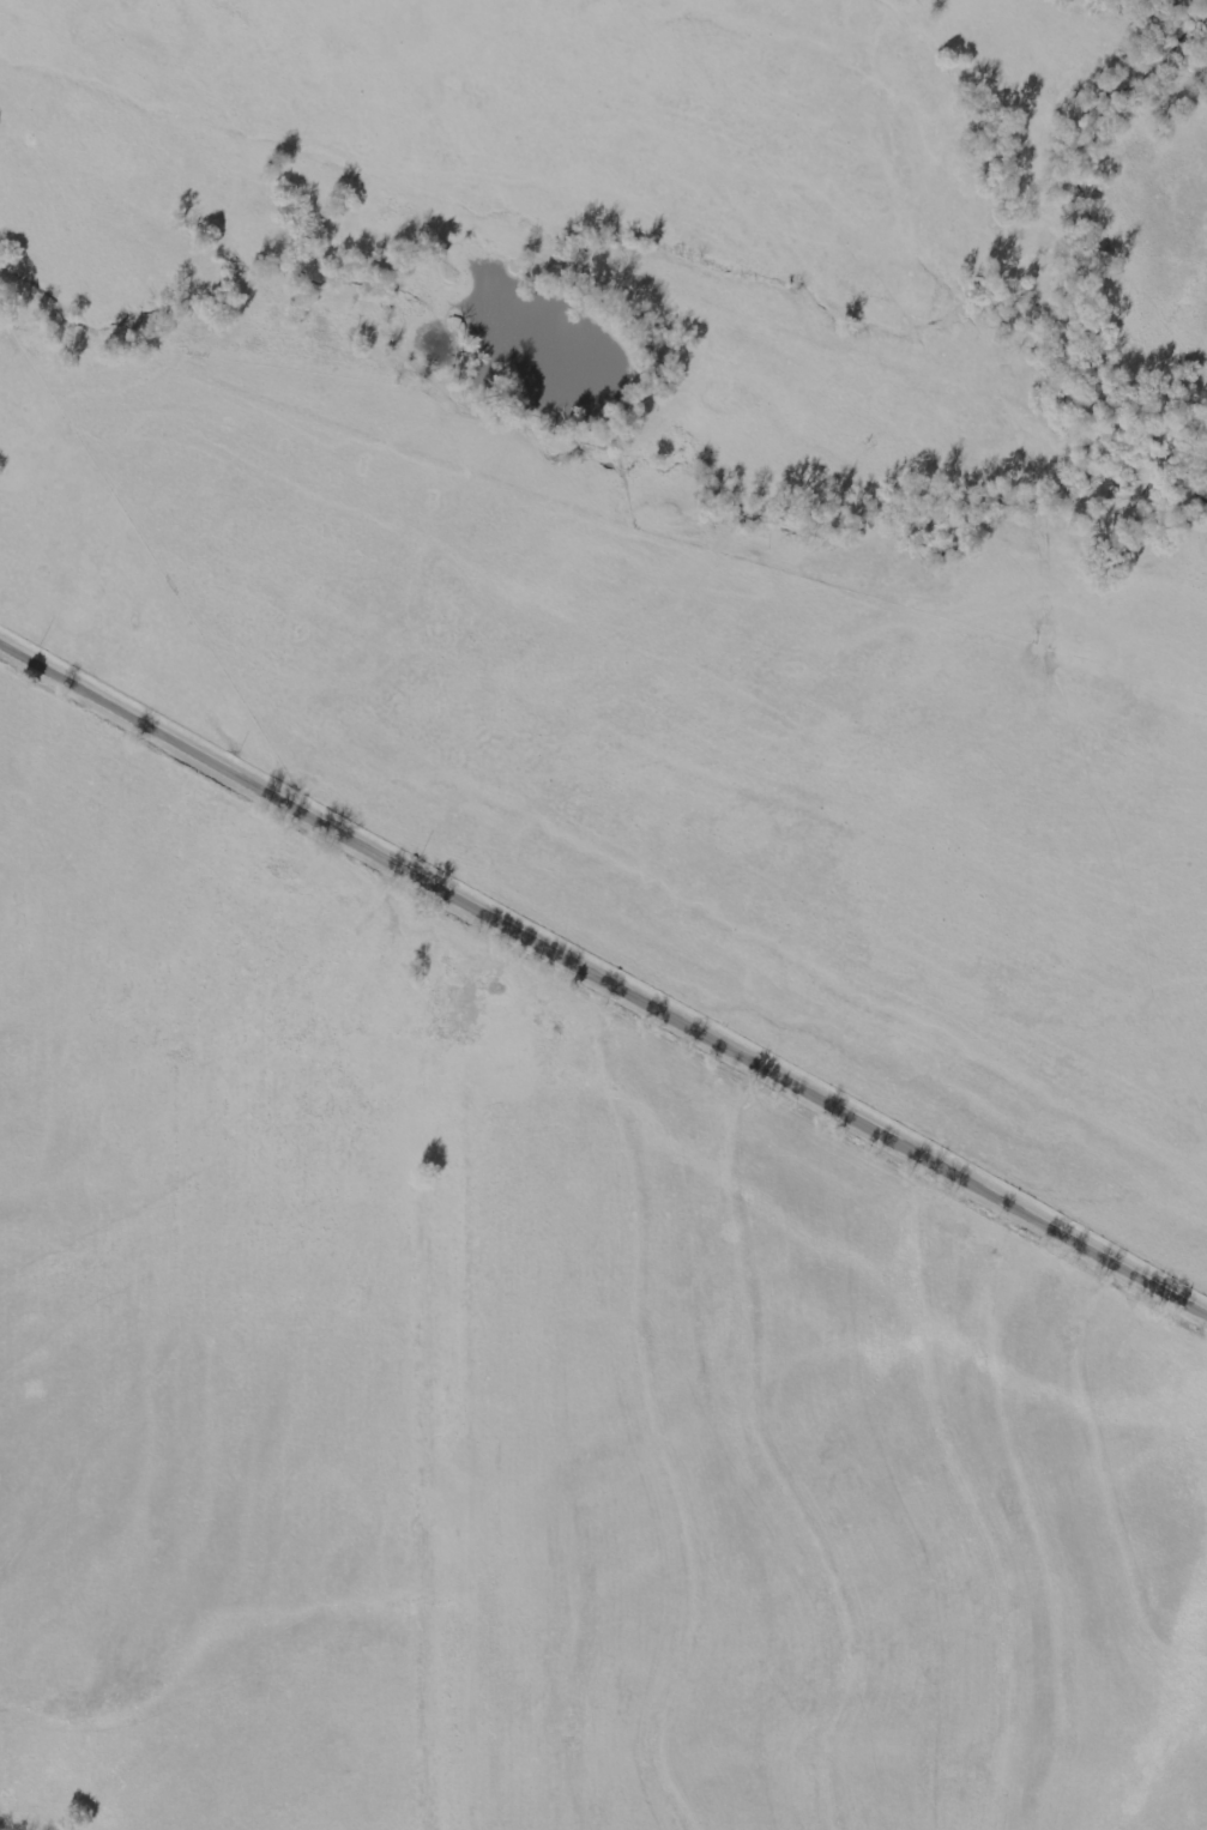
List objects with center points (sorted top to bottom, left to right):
road: (603, 977)

